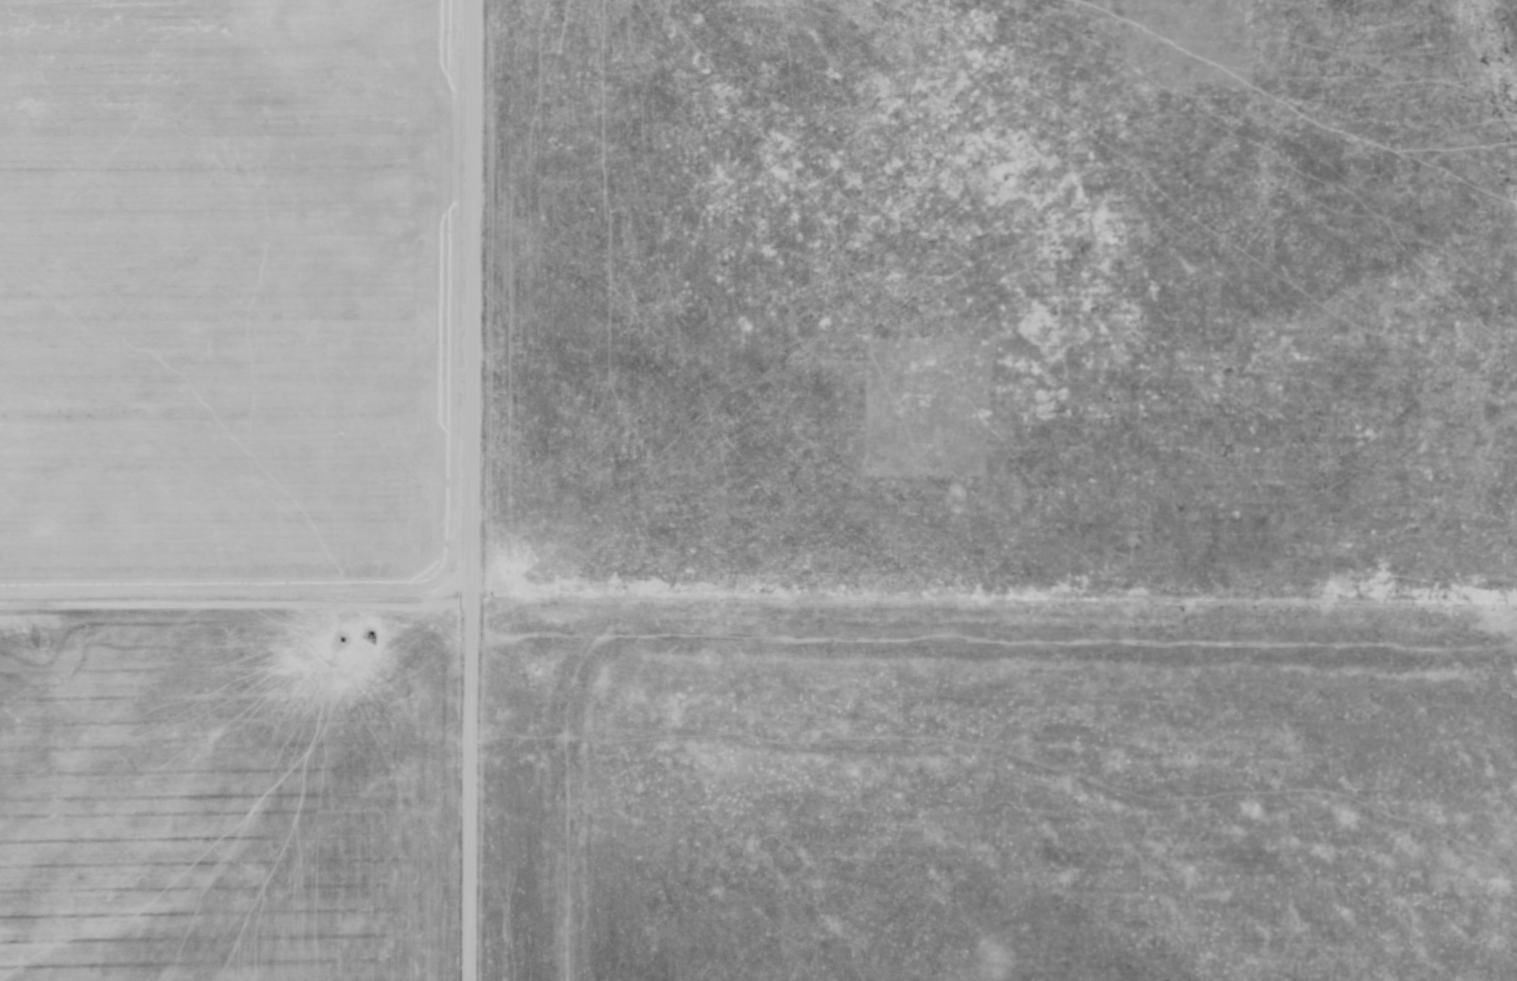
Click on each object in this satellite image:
road: (471, 490)
road: (235, 596)
storage tank: (371, 637)

